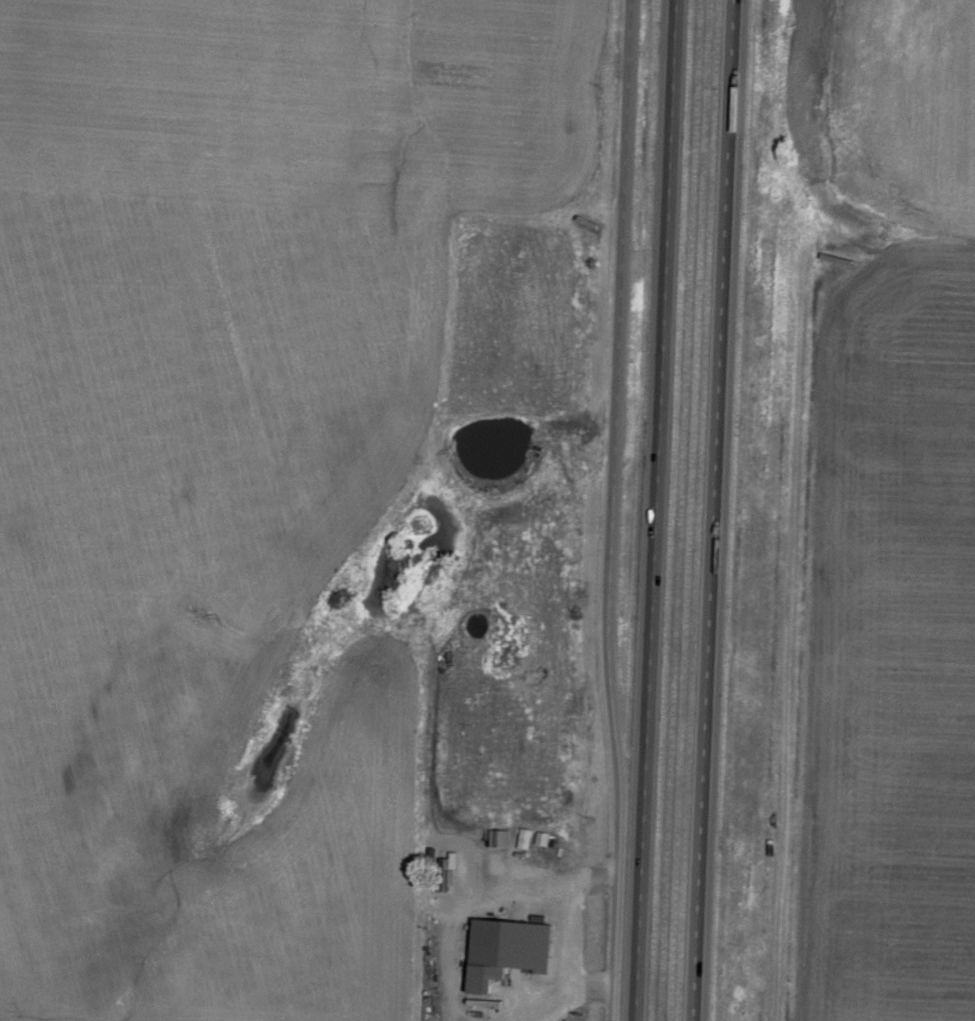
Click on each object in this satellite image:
road: (582, 510)
road: (657, 510)
road: (716, 510)
building: (508, 952)

